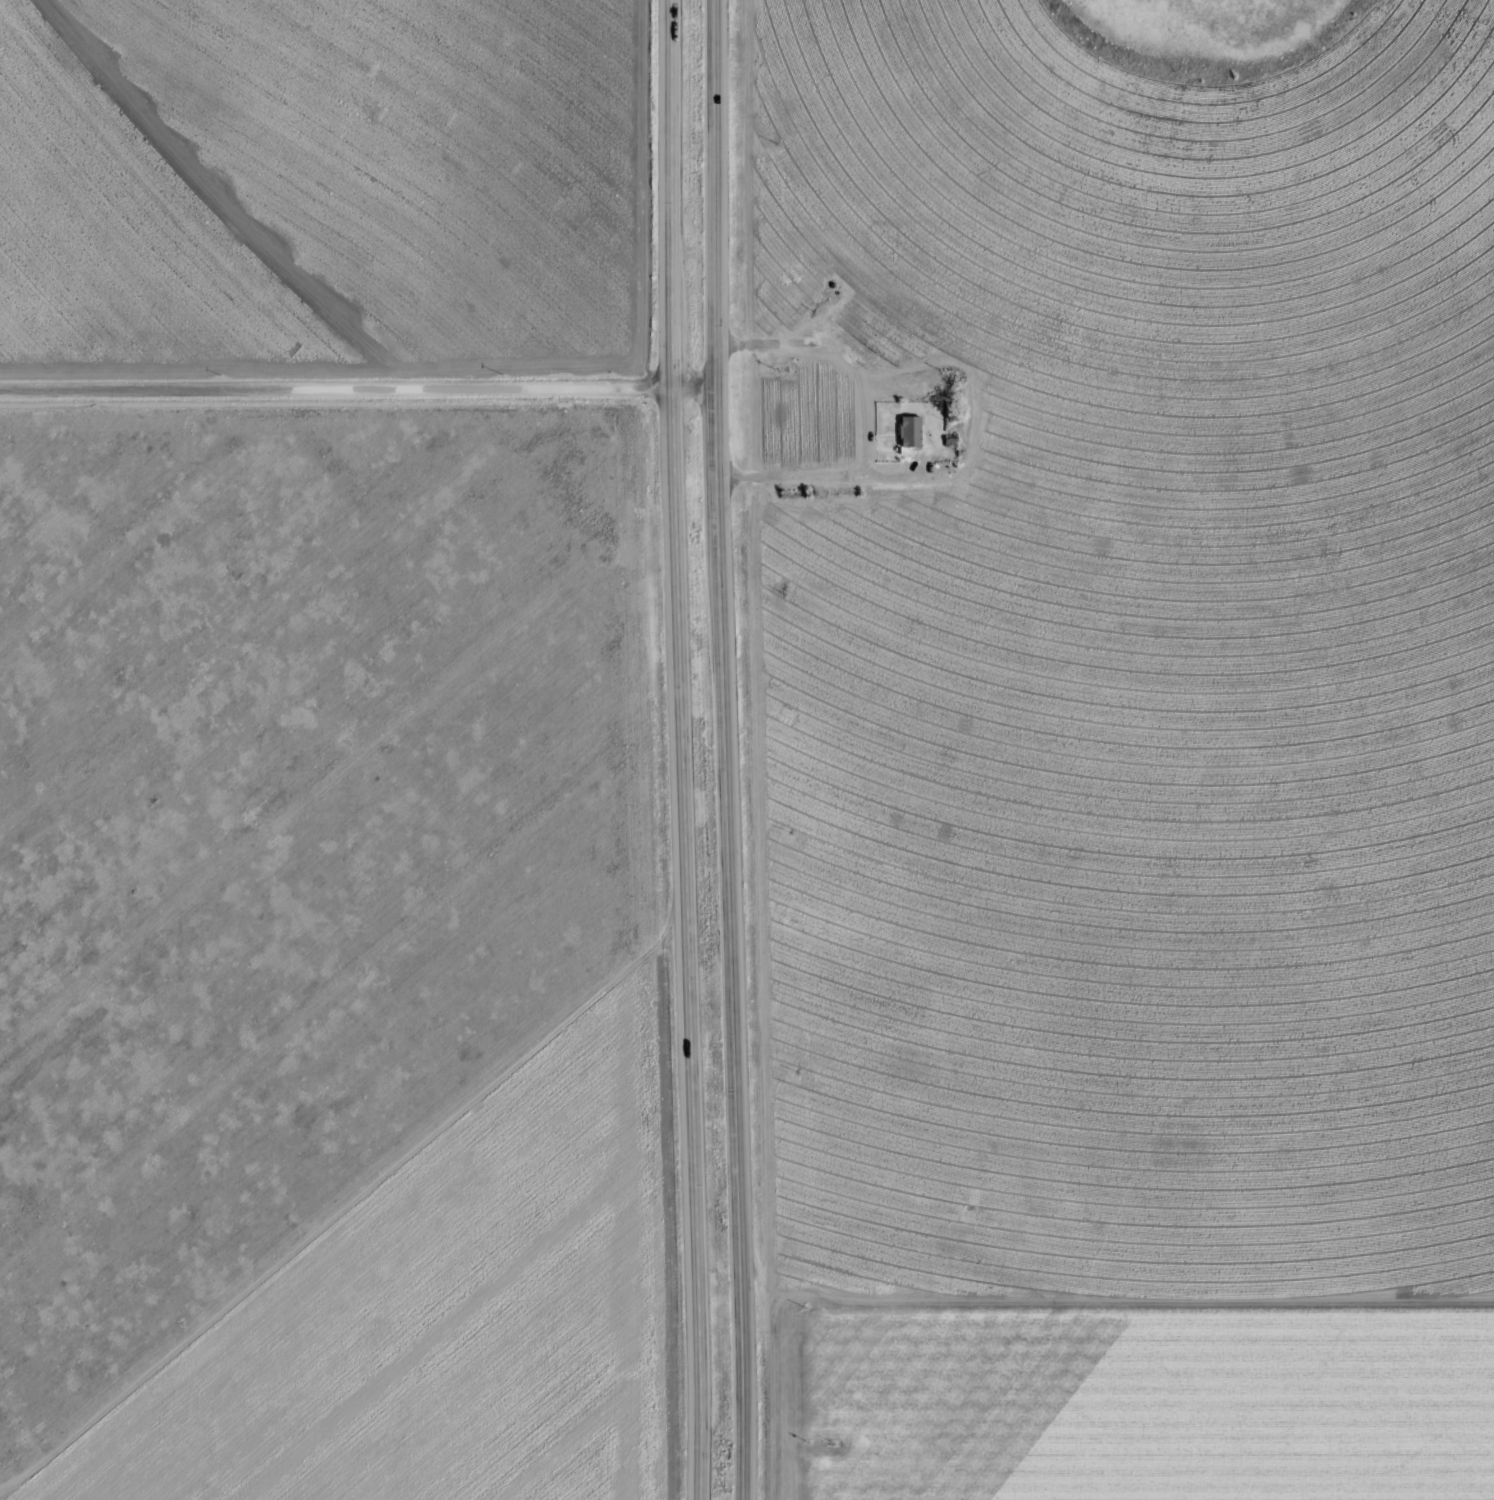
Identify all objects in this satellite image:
road: (360, 396)
building: (912, 432)
road: (688, 750)
road: (731, 750)

